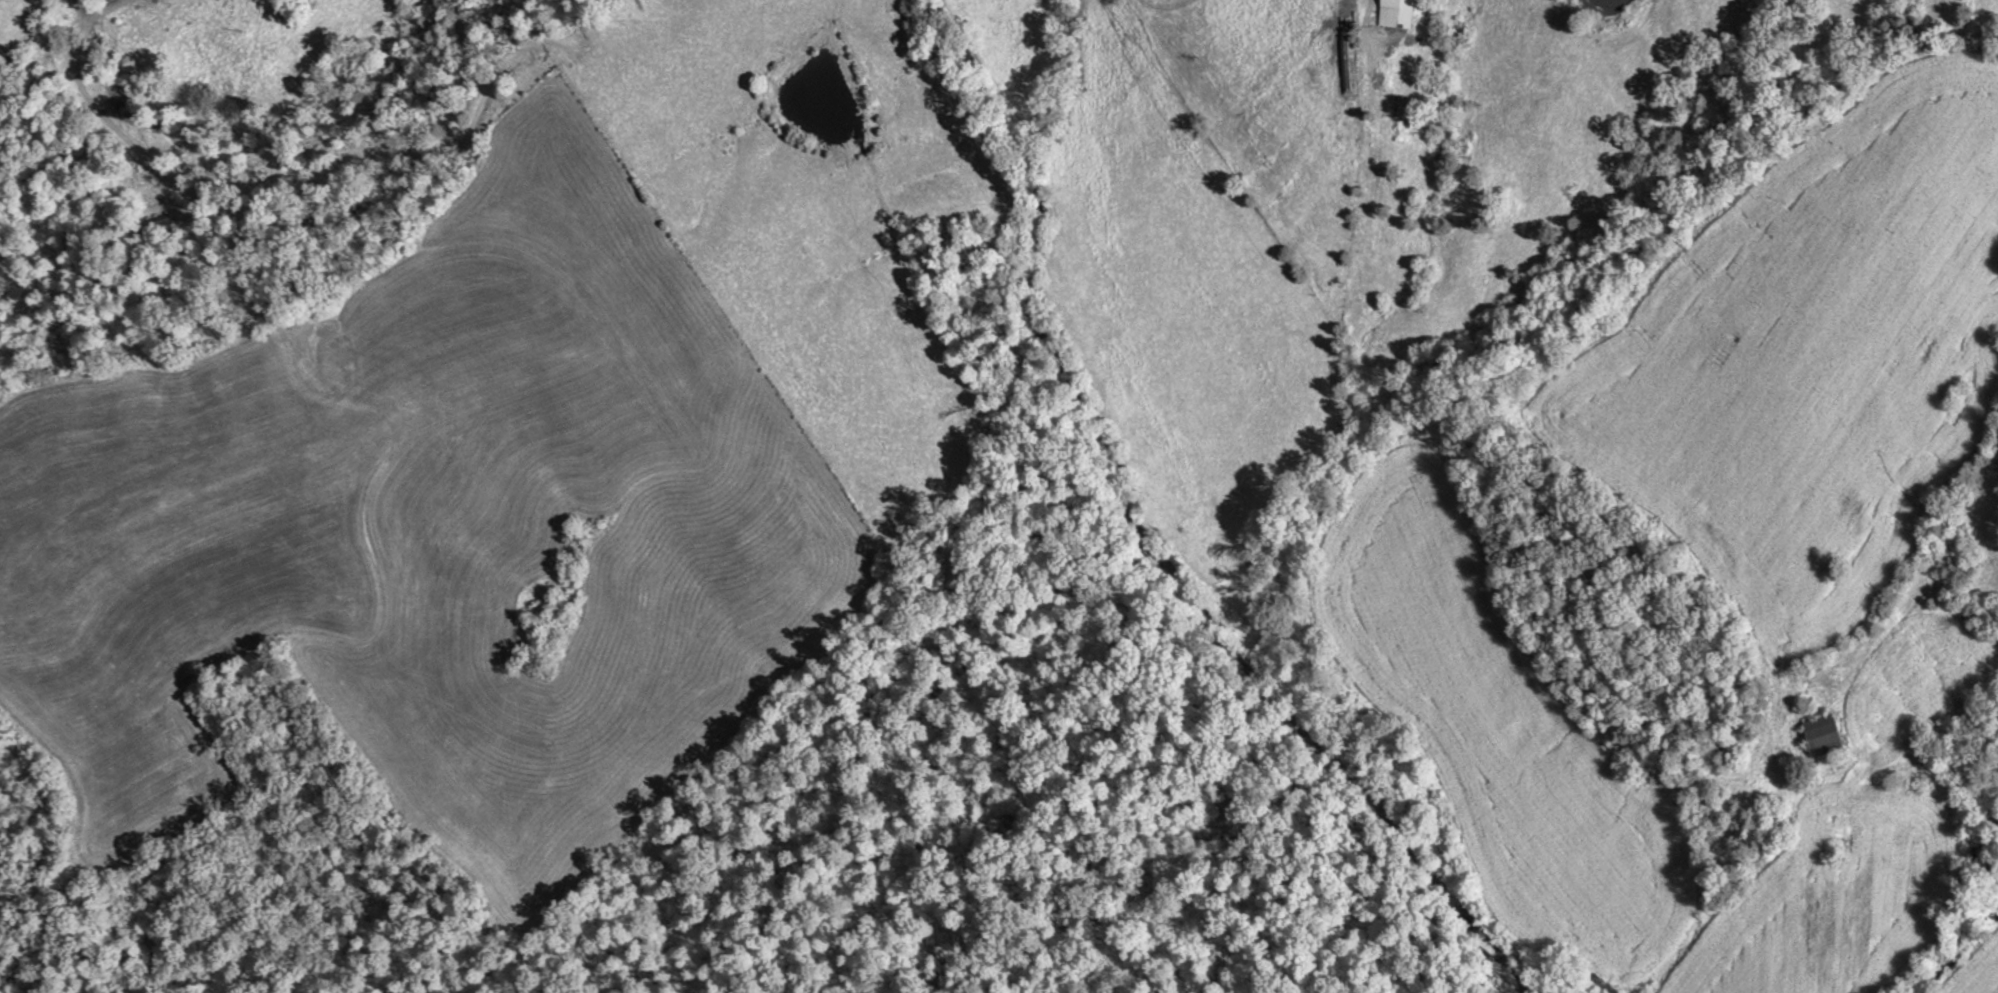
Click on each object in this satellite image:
building: (1392, 3)
building: (1824, 735)

